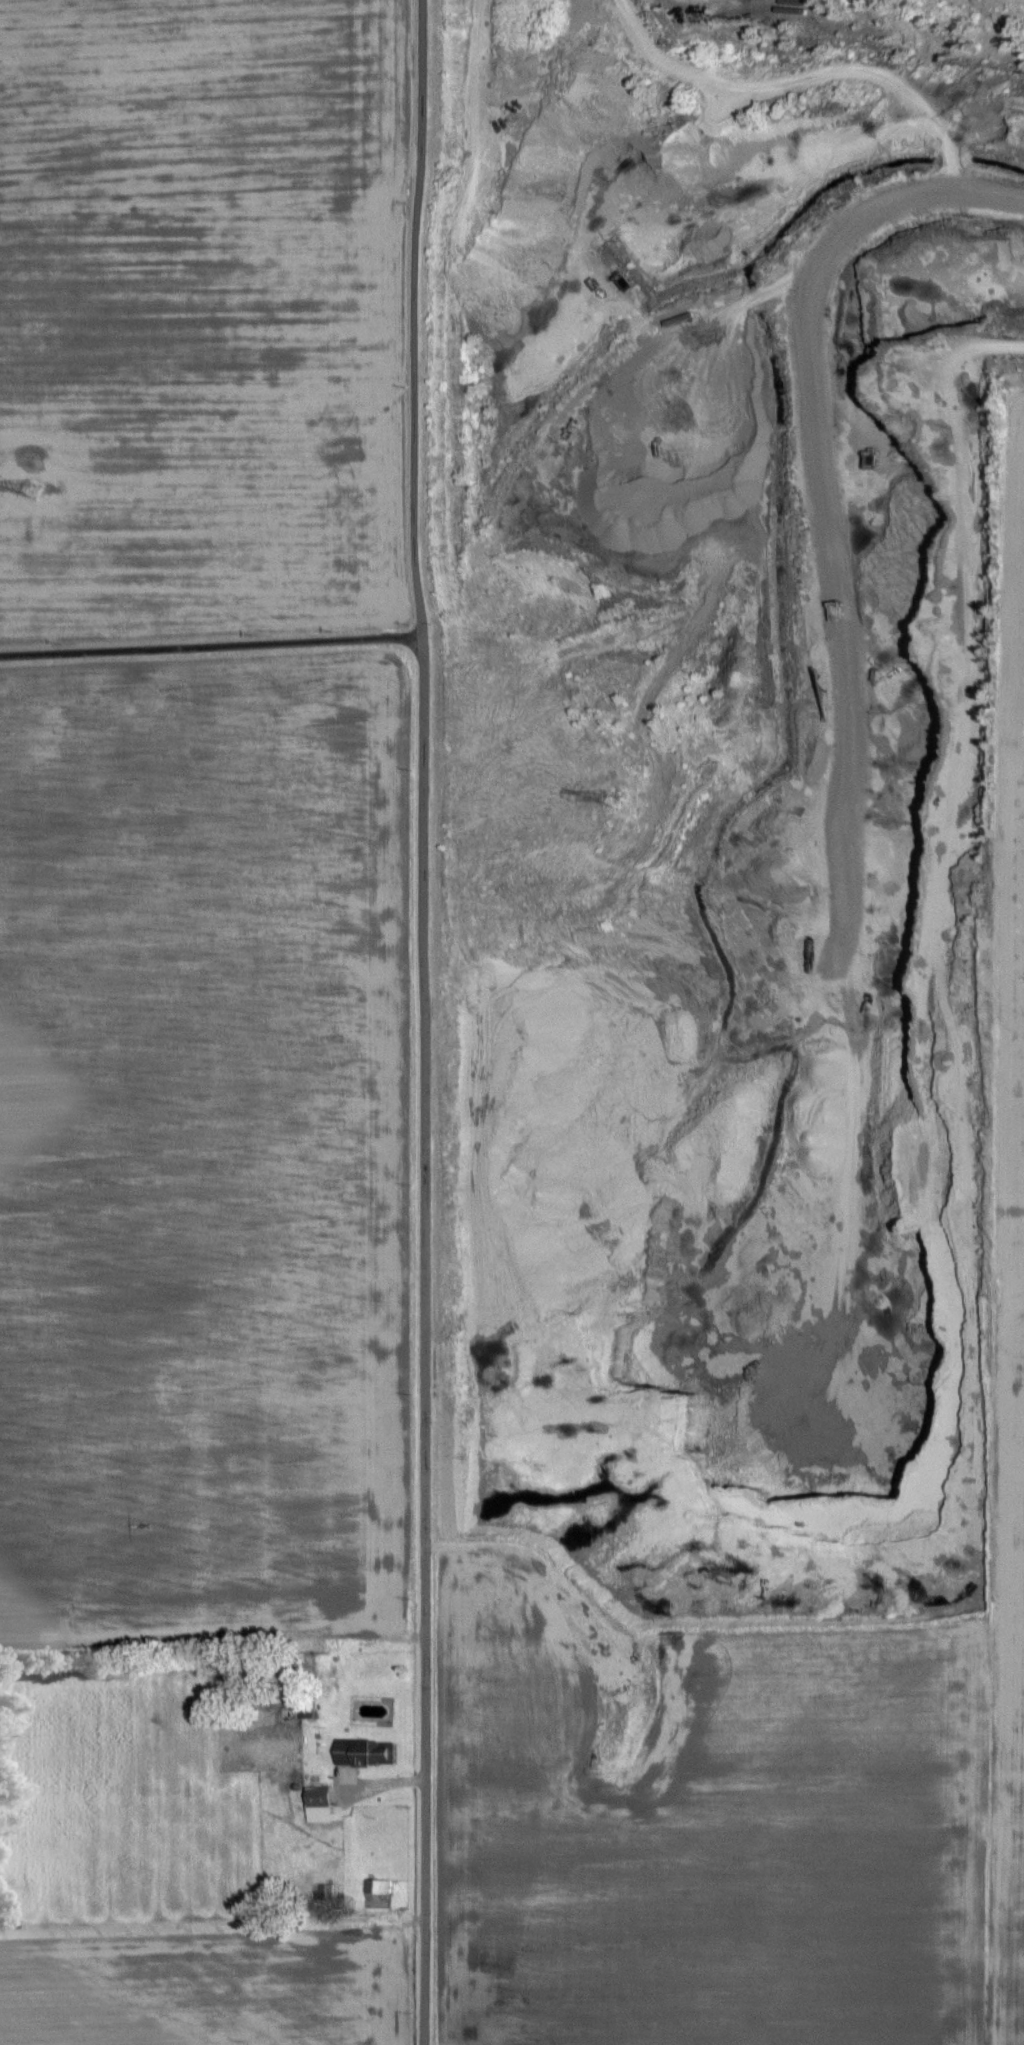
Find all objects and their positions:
power tower: (14, 500)
road: (210, 646)
quarry: (719, 800)
road: (420, 1022)
building: (360, 1752)
building: (314, 1804)
building: (374, 1887)

